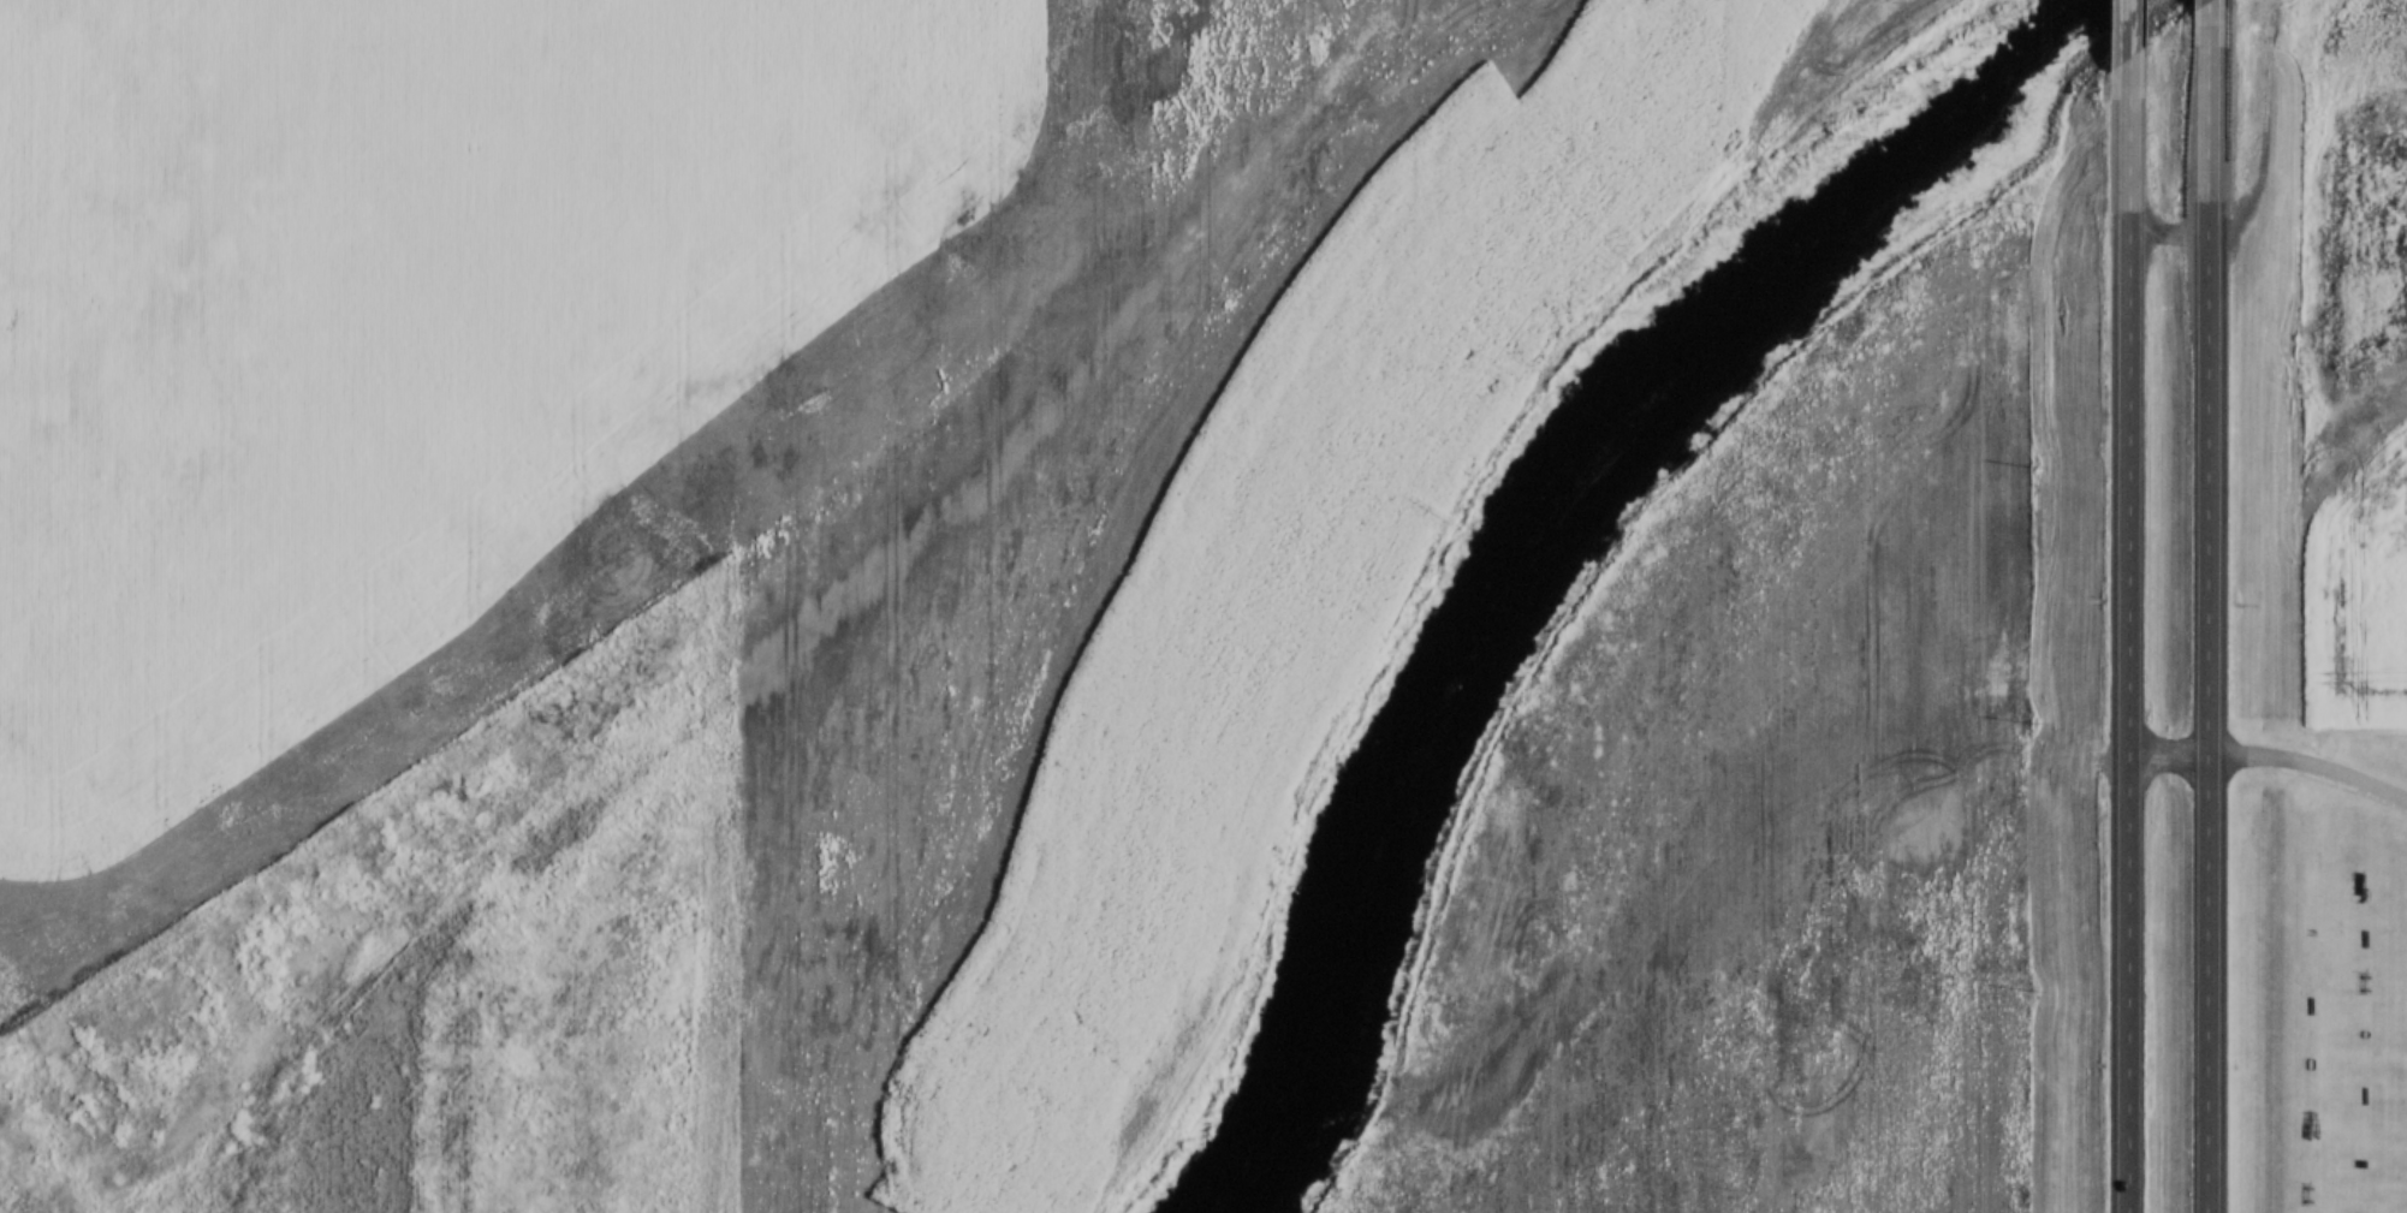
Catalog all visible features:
road: (2198, 1)
road: (2112, 26)
river: (1552, 519)
road: (2199, 607)
road: (2117, 634)

